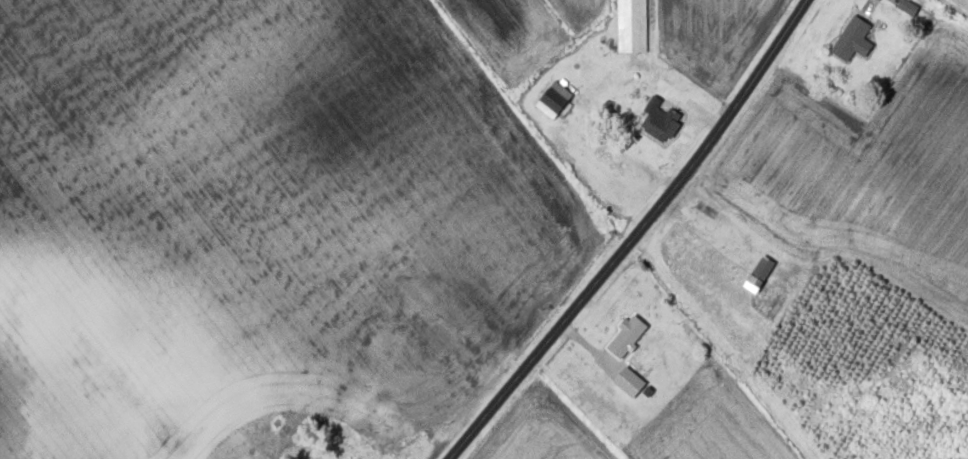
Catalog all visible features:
road: (871, 5)
building: (632, 27)
building: (853, 41)
building: (554, 102)
building: (661, 123)
road: (628, 233)
building: (759, 275)
building: (626, 338)
road: (591, 347)
building: (629, 384)

